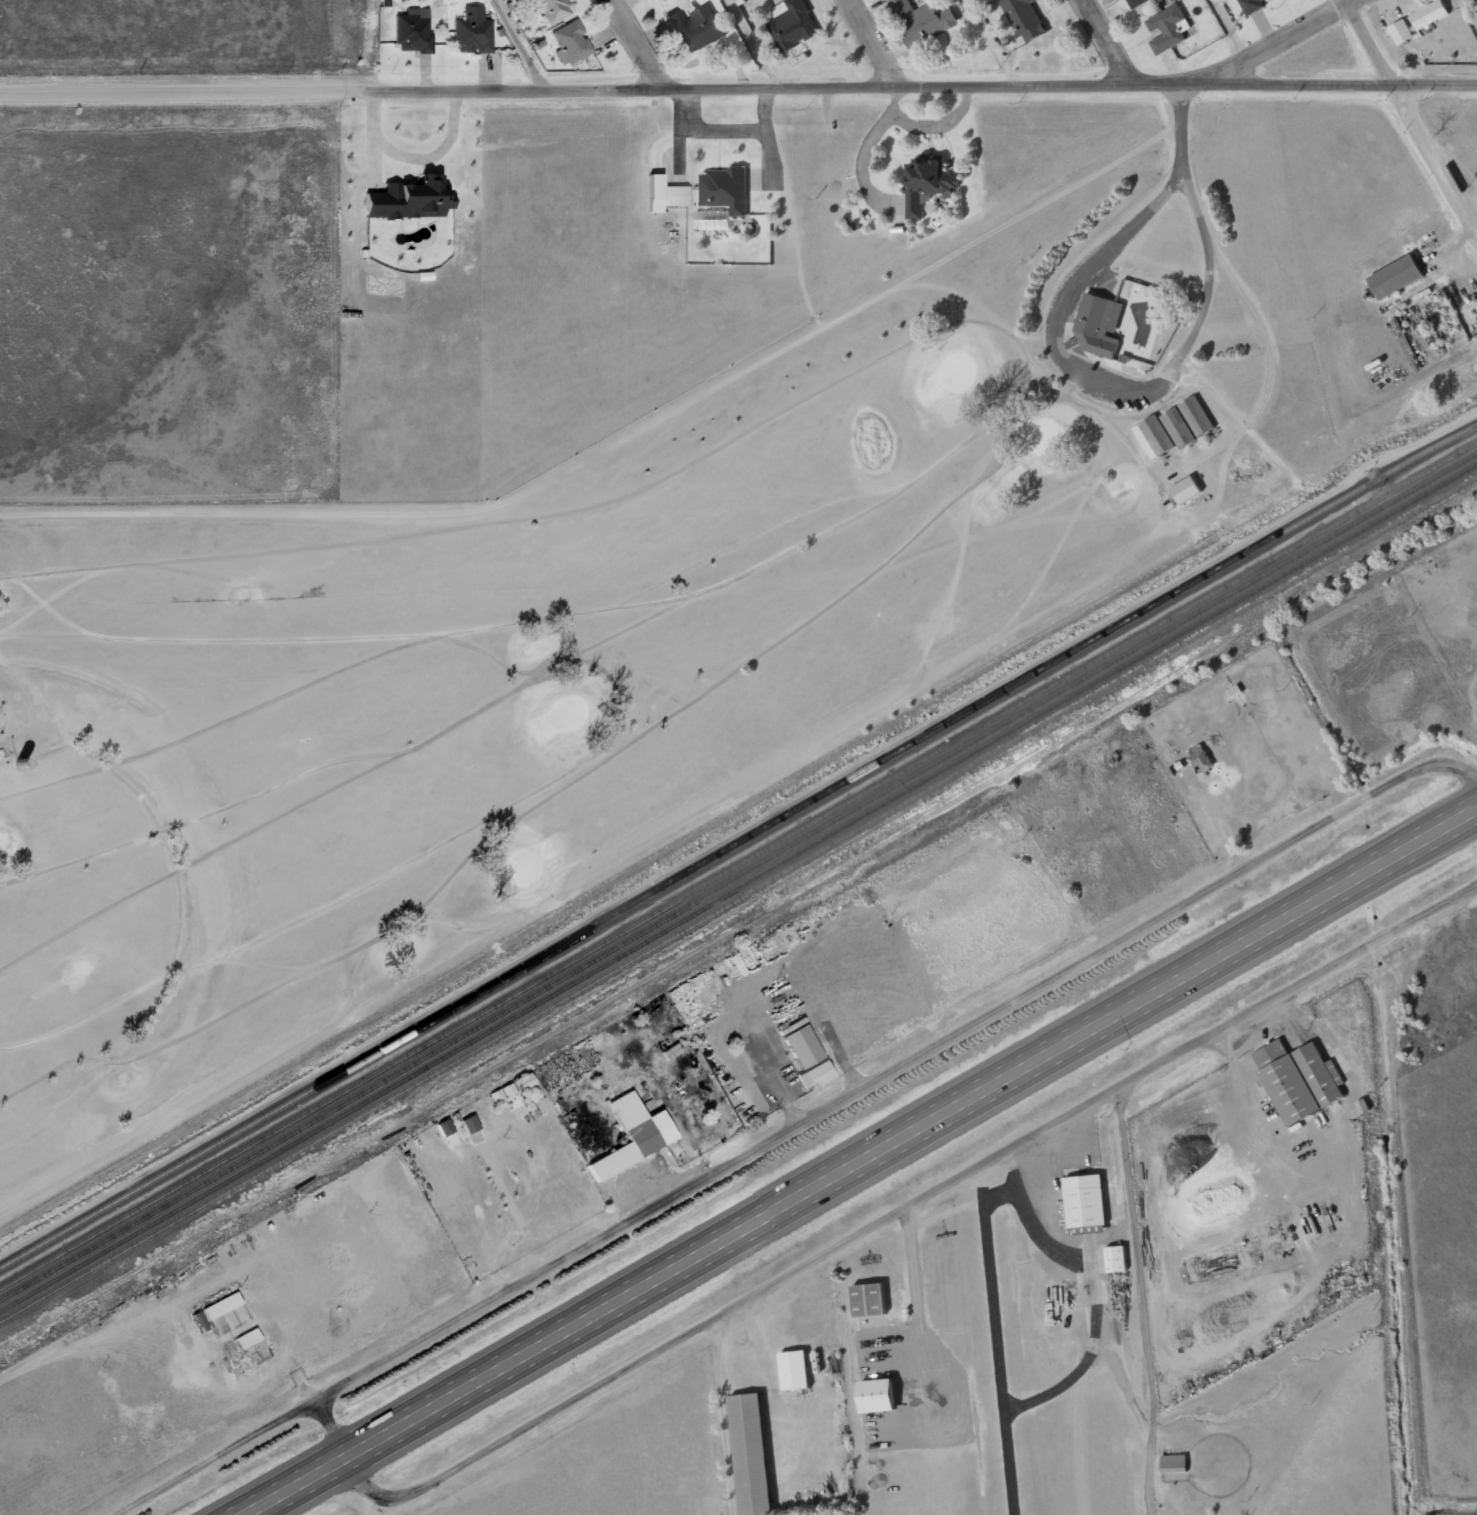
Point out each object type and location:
building: (1281, 0)
building: (777, 1)
building: (1136, 3)
road: (1473, 5)
building: (1250, 6)
building: (548, 9)
building: (1427, 14)
building: (1023, 19)
building: (921, 21)
building: (791, 24)
building: (693, 27)
building: (1167, 28)
road: (1234, 30)
building: (475, 31)
building: (414, 32)
building: (1400, 32)
building: (569, 41)
road: (1283, 41)
road: (994, 42)
road: (1104, 42)
road: (871, 43)
road: (753, 44)
road: (636, 45)
road: (517, 47)
road: (1435, 84)
road: (696, 90)
road: (1412, 119)
building: (932, 181)
building: (727, 186)
building: (674, 195)
building: (409, 197)
building: (710, 221)
building: (1399, 274)
building: (1097, 325)
road: (1151, 393)
building: (1200, 415)
building: (1181, 426)
building: (1160, 435)
building: (1189, 490)
park: (624, 623)
building: (1198, 759)
railway: (737, 843)
railway: (738, 866)
railway: (737, 875)
railway: (737, 885)
railway: (738, 898)
building: (798, 1045)
road: (901, 1070)
building: (814, 1073)
building: (1297, 1080)
building: (523, 1081)
building: (503, 1095)
building: (467, 1123)
building: (629, 1134)
road: (860, 1166)
building: (1083, 1200)
road: (879, 1226)
building: (1114, 1258)
building: (867, 1298)
building: (218, 1305)
building: (245, 1337)
building: (792, 1369)
road: (284, 1375)
building: (873, 1395)
building: (748, 1453)
building: (1172, 1462)

